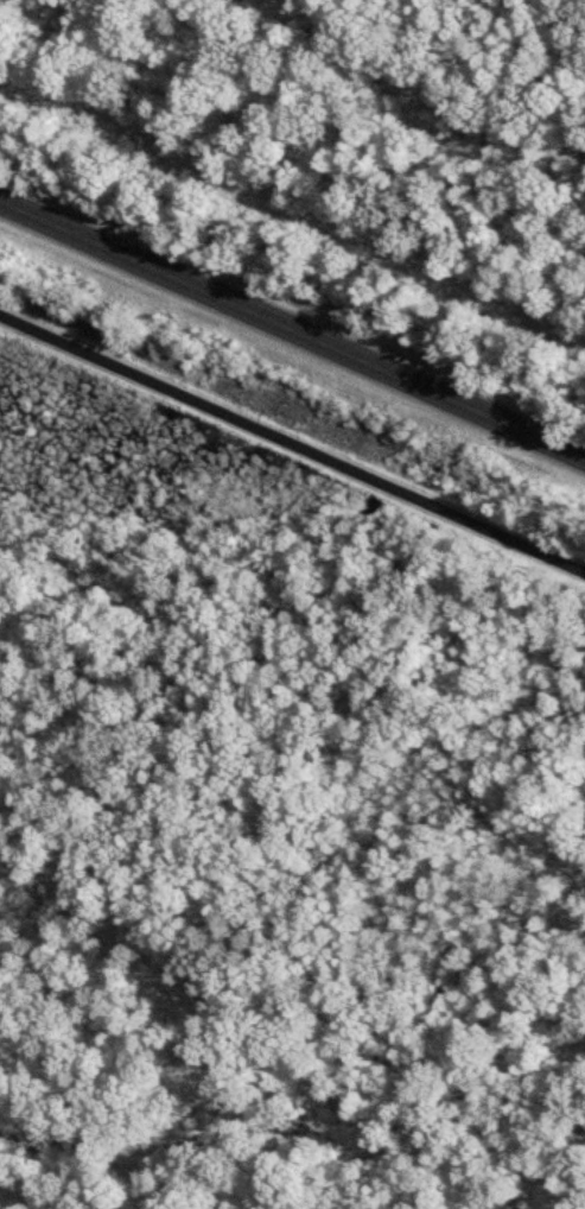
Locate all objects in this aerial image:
road: (292, 329)
road: (292, 444)

